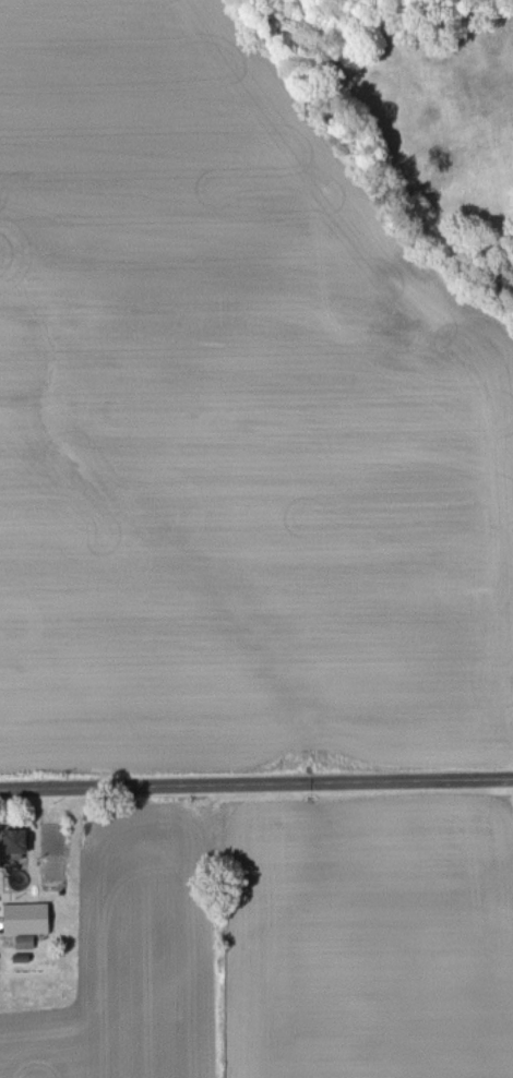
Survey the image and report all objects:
road: (255, 784)
building: (20, 845)
building: (28, 920)

